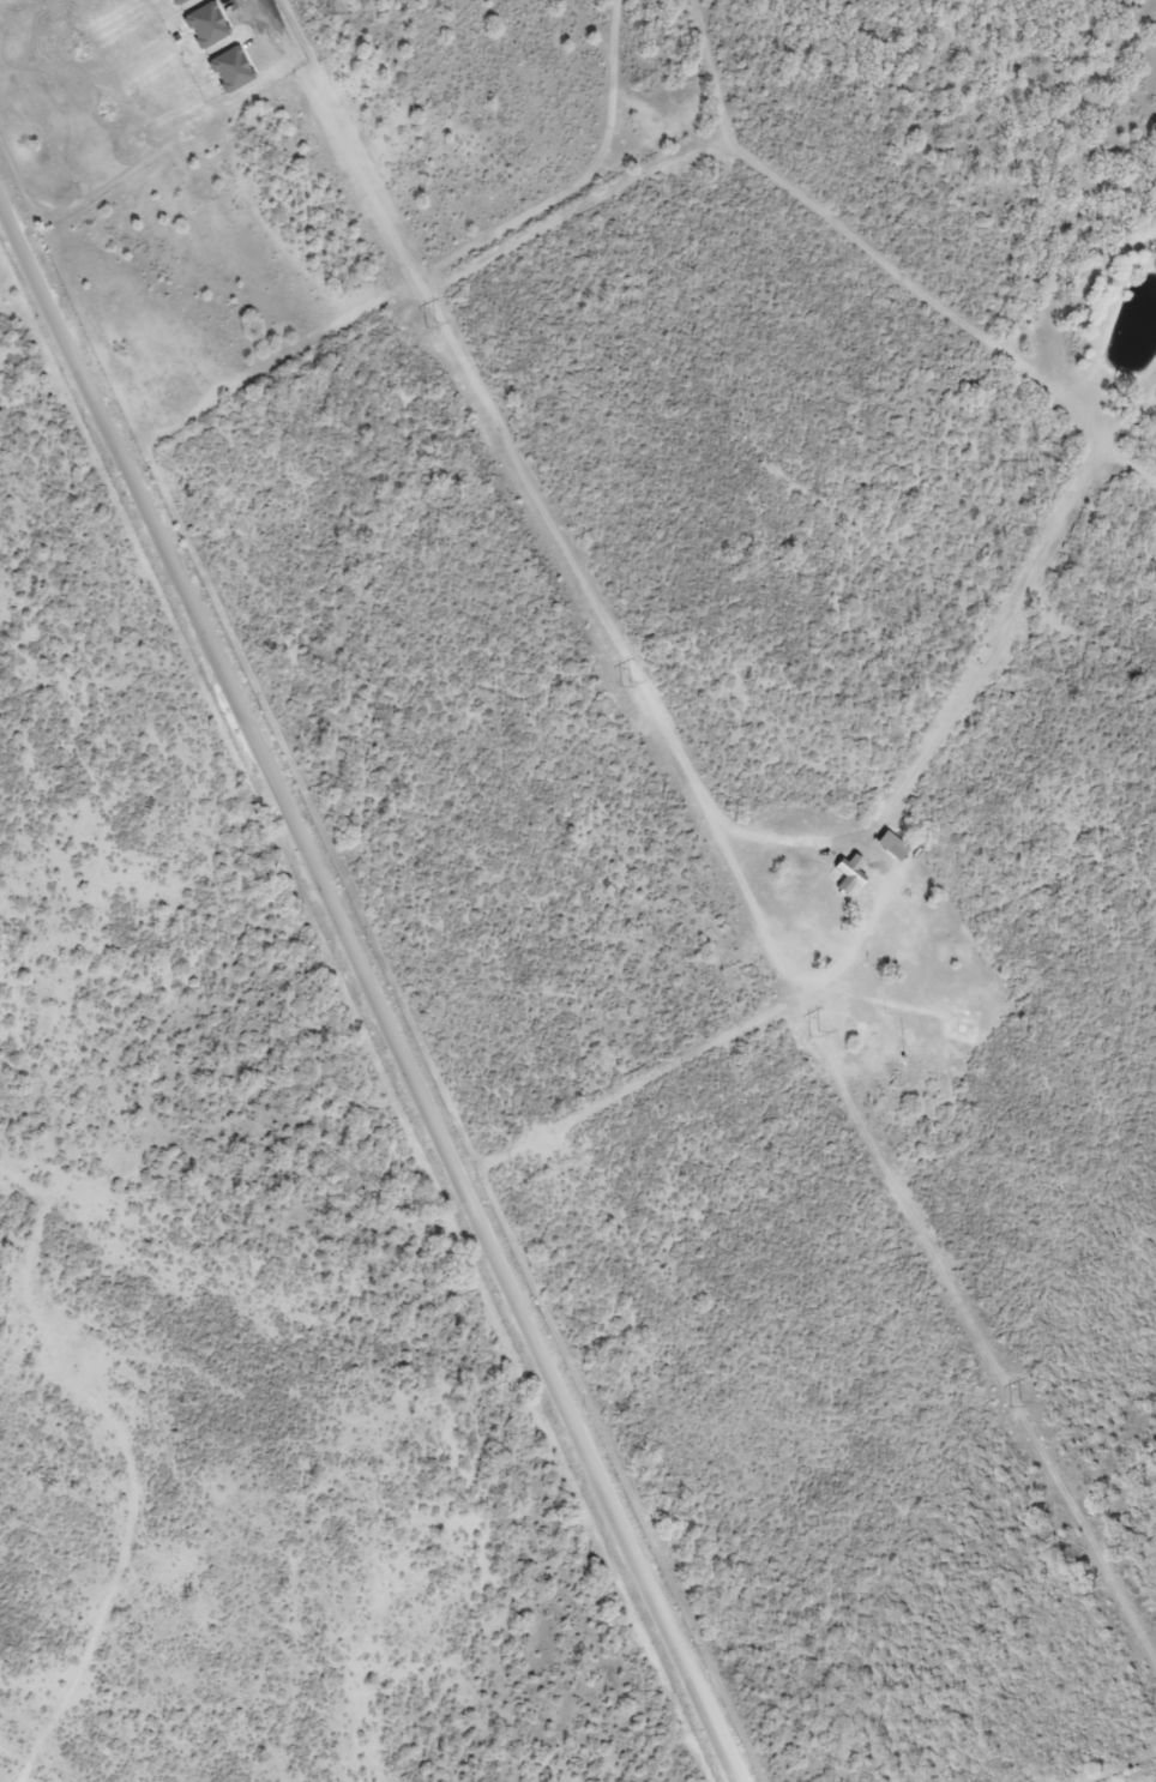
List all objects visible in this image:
power tower: (431, 327)
power tower: (628, 685)
building: (895, 853)
building: (847, 877)
road: (374, 986)
power tower: (818, 1035)
power tower: (1014, 1408)

